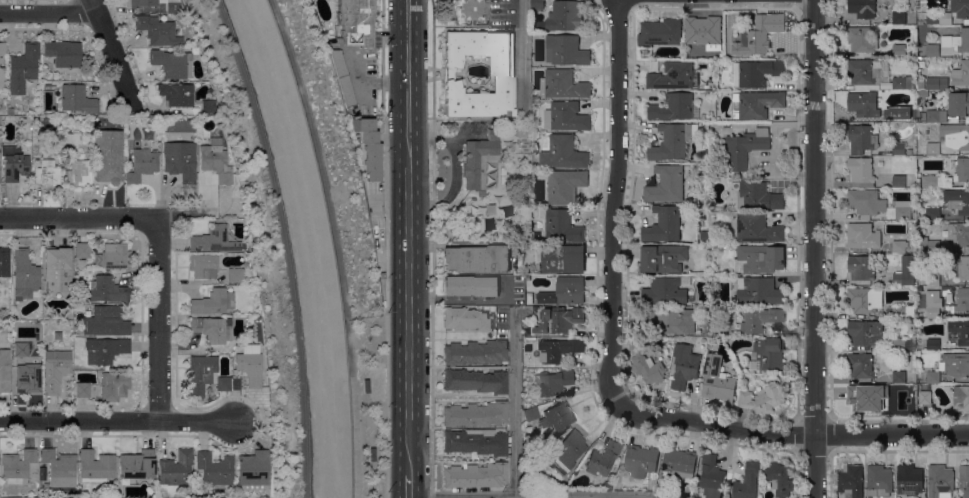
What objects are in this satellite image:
building: (142, 4)
building: (537, 4)
building: (171, 6)
building: (862, 8)
building: (960, 8)
building: (465, 10)
road: (49, 14)
building: (565, 15)
building: (899, 17)
building: (938, 17)
building: (354, 22)
building: (703, 30)
building: (158, 31)
building: (660, 33)
building: (755, 36)
building: (861, 39)
building: (958, 40)
building: (2, 48)
building: (565, 50)
building: (898, 50)
building: (933, 50)
road: (112, 52)
building: (921, 52)
building: (63, 53)
road: (524, 59)
building: (0, 61)
building: (171, 63)
building: (22, 68)
building: (755, 72)
building: (863, 72)
building: (961, 73)
building: (502, 75)
building: (672, 76)
building: (2, 77)
building: (341, 78)
building: (904, 82)
building: (937, 83)
road: (369, 84)
building: (563, 84)
building: (175, 95)
building: (535, 97)
building: (77, 100)
building: (862, 103)
building: (959, 103)
building: (756, 104)
building: (207, 106)
building: (672, 107)
building: (9, 112)
building: (918, 114)
building: (903, 115)
building: (936, 115)
building: (566, 116)
building: (10, 119)
building: (46, 122)
building: (726, 124)
building: (179, 126)
building: (522, 130)
building: (954, 136)
building: (861, 138)
building: (71, 139)
building: (671, 141)
building: (367, 148)
building: (899, 148)
building: (933, 148)
building: (742, 149)
building: (909, 151)
building: (563, 153)
building: (922, 156)
building: (108, 157)
building: (180, 161)
building: (478, 162)
building: (142, 163)
building: (13, 164)
building: (214, 166)
building: (960, 169)
building: (860, 171)
building: (47, 173)
building: (78, 173)
building: (898, 180)
building: (936, 180)
building: (918, 181)
building: (666, 184)
building: (565, 185)
building: (481, 194)
building: (756, 196)
building: (957, 201)
building: (866, 202)
building: (903, 209)
road: (612, 211)
building: (933, 213)
road: (78, 219)
building: (663, 225)
building: (562, 226)
building: (757, 228)
building: (959, 233)
building: (704, 235)
road: (407, 236)
building: (863, 236)
park: (342, 238)
building: (537, 238)
building: (215, 240)
road: (283, 244)
park: (259, 245)
building: (899, 245)
building: (933, 246)
road: (335, 248)
road: (386, 248)
road: (430, 249)
road: (813, 249)
building: (82, 250)
building: (112, 257)
building: (561, 257)
building: (663, 258)
building: (759, 258)
building: (477, 259)
building: (4, 262)
building: (203, 266)
building: (861, 267)
building: (962, 269)
building: (57, 270)
building: (905, 271)
building: (24, 275)
building: (234, 276)
building: (933, 279)
building: (471, 286)
building: (103, 290)
building: (759, 290)
building: (565, 291)
building: (664, 291)
building: (530, 298)
building: (865, 299)
building: (962, 300)
building: (213, 302)
building: (79, 308)
building: (490, 308)
building: (903, 311)
building: (933, 311)
building: (670, 318)
building: (759, 319)
building: (257, 320)
building: (466, 320)
building: (558, 320)
road: (157, 321)
building: (105, 322)
building: (212, 329)
building: (960, 331)
building: (865, 332)
building: (899, 343)
building: (933, 343)
building: (559, 349)
building: (23, 350)
building: (104, 350)
building: (476, 353)
building: (768, 355)
building: (646, 363)
building: (956, 364)
building: (249, 365)
building: (684, 365)
building: (861, 365)
building: (4, 371)
building: (55, 371)
building: (205, 376)
building: (899, 376)
building: (28, 377)
building: (933, 377)
building: (717, 379)
building: (475, 382)
building: (554, 382)
building: (366, 385)
building: (113, 386)
building: (913, 386)
building: (82, 390)
building: (865, 395)
building: (908, 397)
building: (924, 397)
building: (762, 398)
building: (962, 399)
road: (516, 403)
building: (530, 414)
building: (476, 415)
building: (557, 417)
road: (117, 421)
road: (802, 432)
building: (476, 442)
building: (567, 450)
building: (371, 453)
building: (603, 458)
building: (640, 460)
building: (679, 463)
building: (532, 465)
building: (17, 466)
building: (136, 466)
building: (95, 467)
building: (176, 469)
building: (214, 469)
building: (59, 470)
building: (252, 471)
building: (476, 476)
building: (710, 476)
building: (779, 478)
building: (909, 479)
building: (941, 479)
building: (851, 480)
building: (964, 480)
building: (879, 481)
building: (747, 482)
building: (663, 483)
road: (408, 486)
building: (607, 486)
building: (218, 493)
building: (153, 495)
road: (527, 497)
building: (780, 497)

